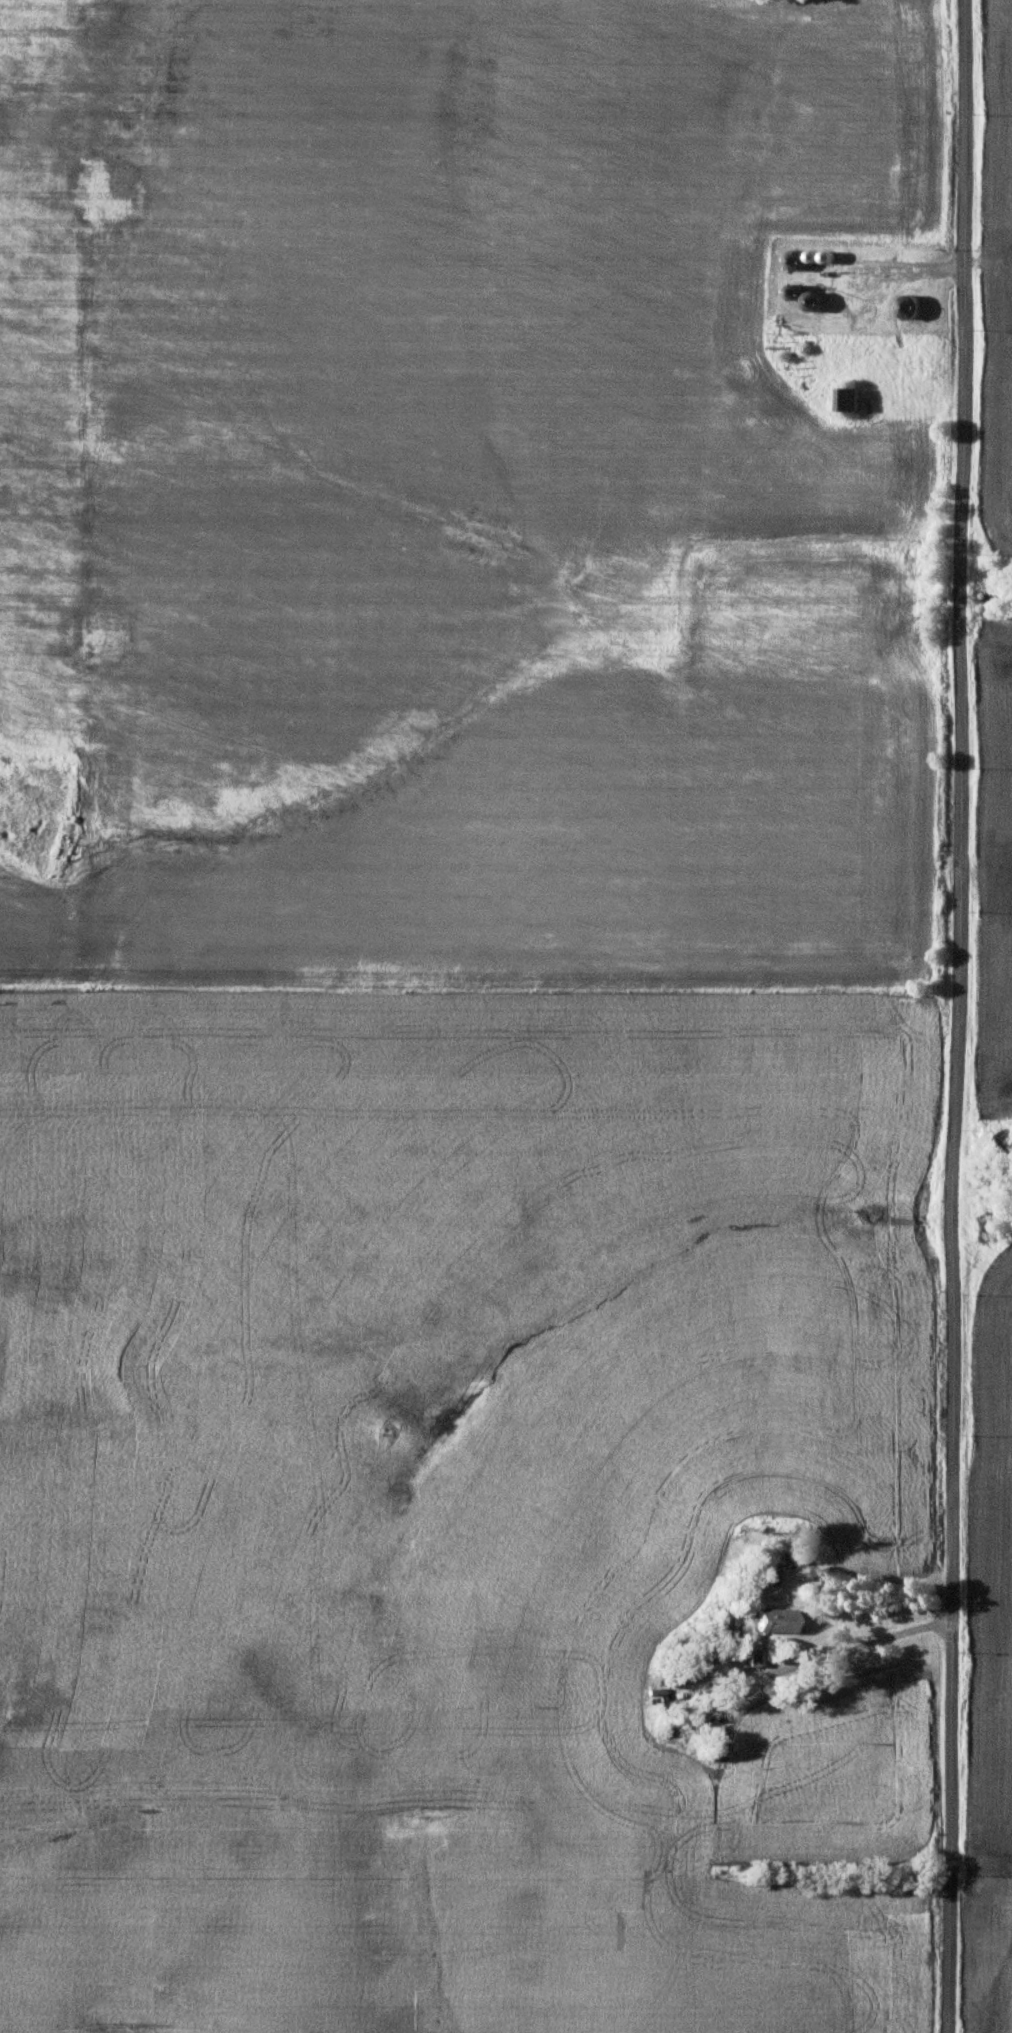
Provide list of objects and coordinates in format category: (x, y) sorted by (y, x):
building: (795, 258)
building: (791, 289)
building: (813, 299)
building: (847, 397)
road: (957, 1016)
building: (777, 1618)
road: (858, 1644)
building: (756, 1657)

